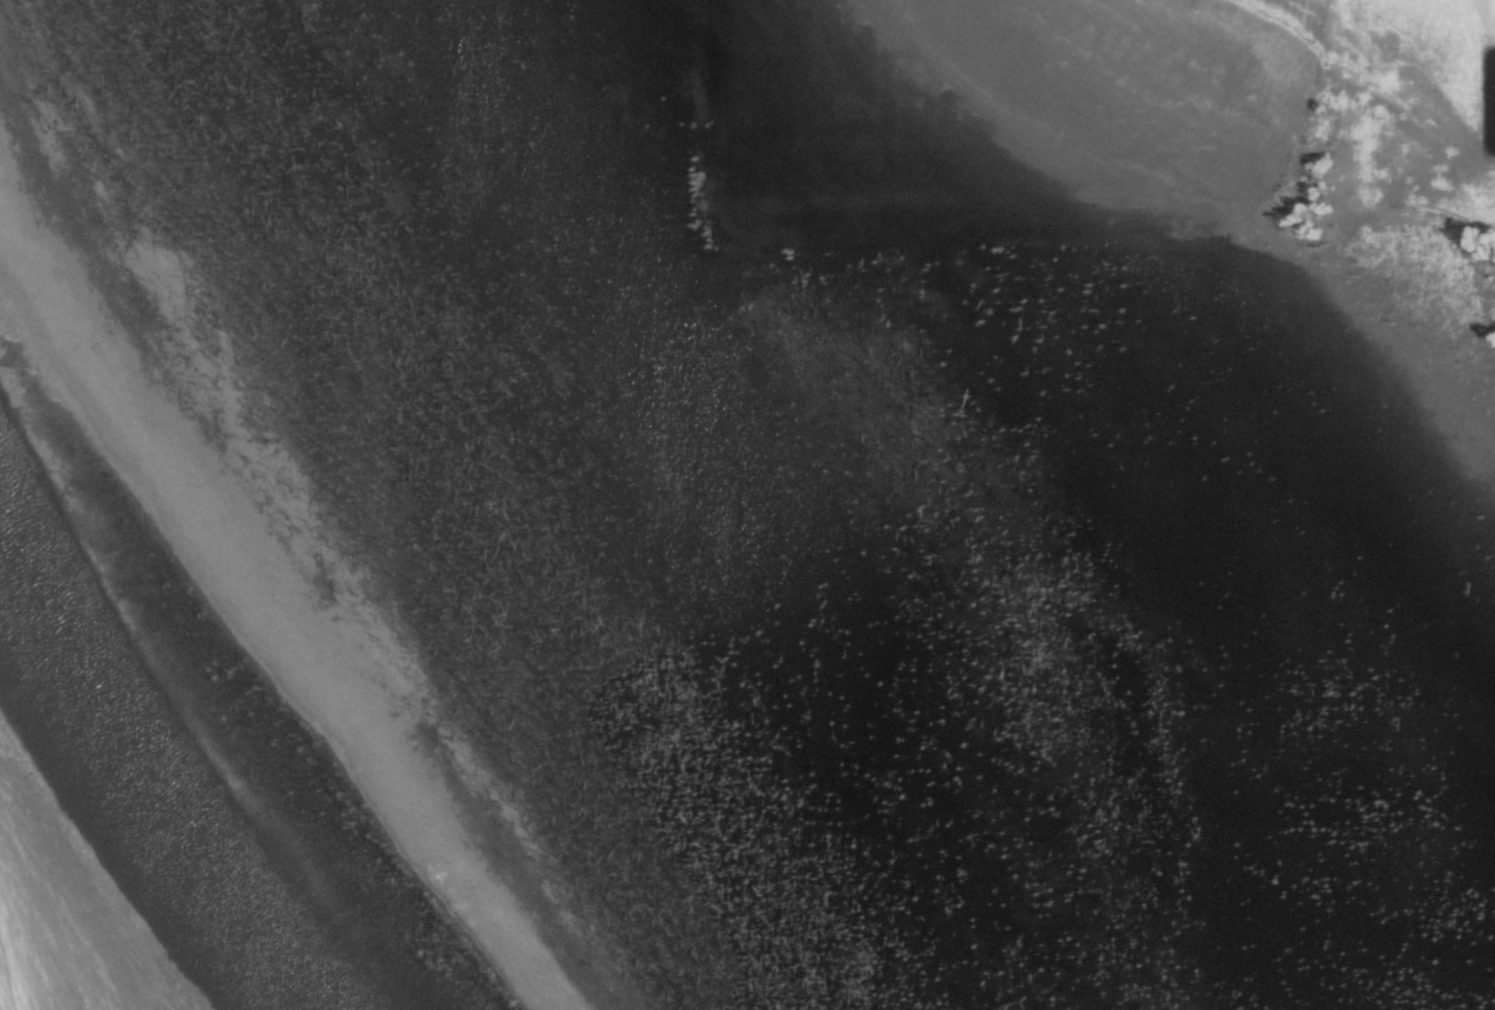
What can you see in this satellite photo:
river: (148, 796)
crop: (64, 927)

